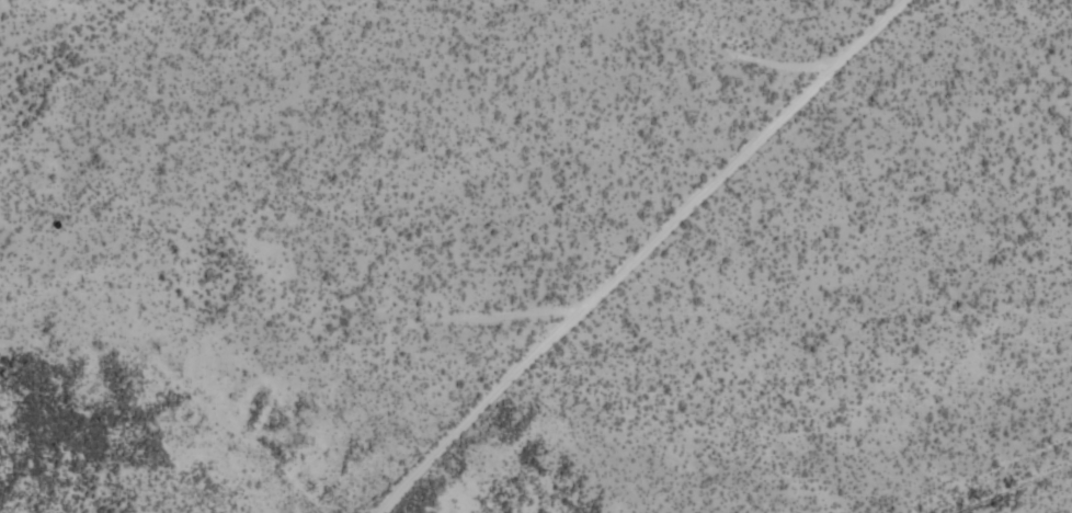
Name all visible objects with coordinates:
building: (156, 116)
building: (939, 125)

